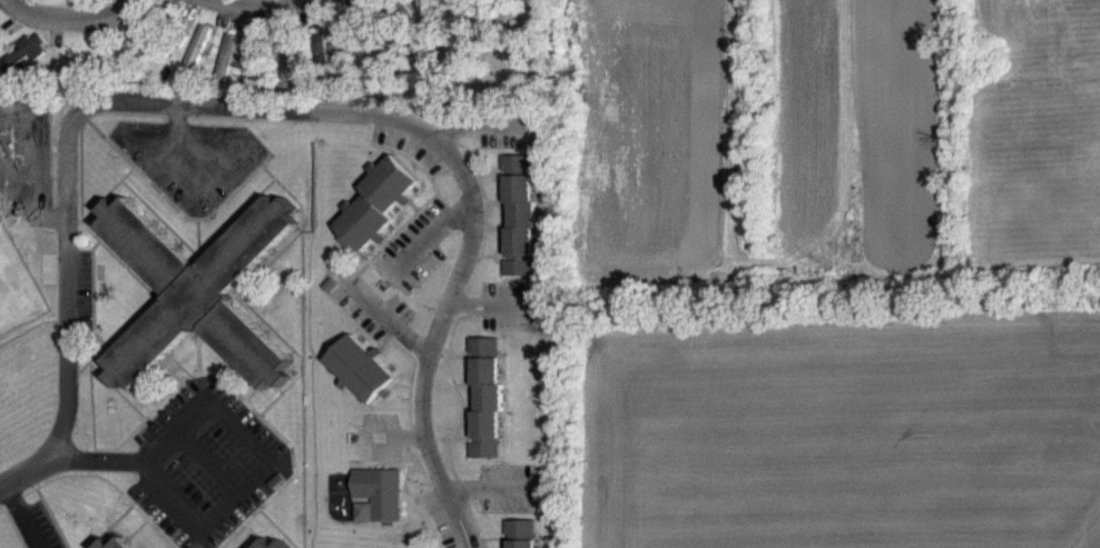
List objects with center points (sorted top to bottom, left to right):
building: (266, 0)
road: (257, 3)
road: (67, 14)
building: (322, 51)
building: (137, 54)
building: (24, 63)
building: (195, 63)
building: (227, 70)
building: (288, 77)
road: (295, 112)
road: (174, 143)
building: (375, 216)
road: (432, 229)
building: (520, 230)
building: (197, 303)
road: (393, 323)
building: (360, 380)
building: (484, 409)
road: (19, 476)
road: (228, 497)
building: (375, 507)
road: (23, 515)
building: (520, 539)

